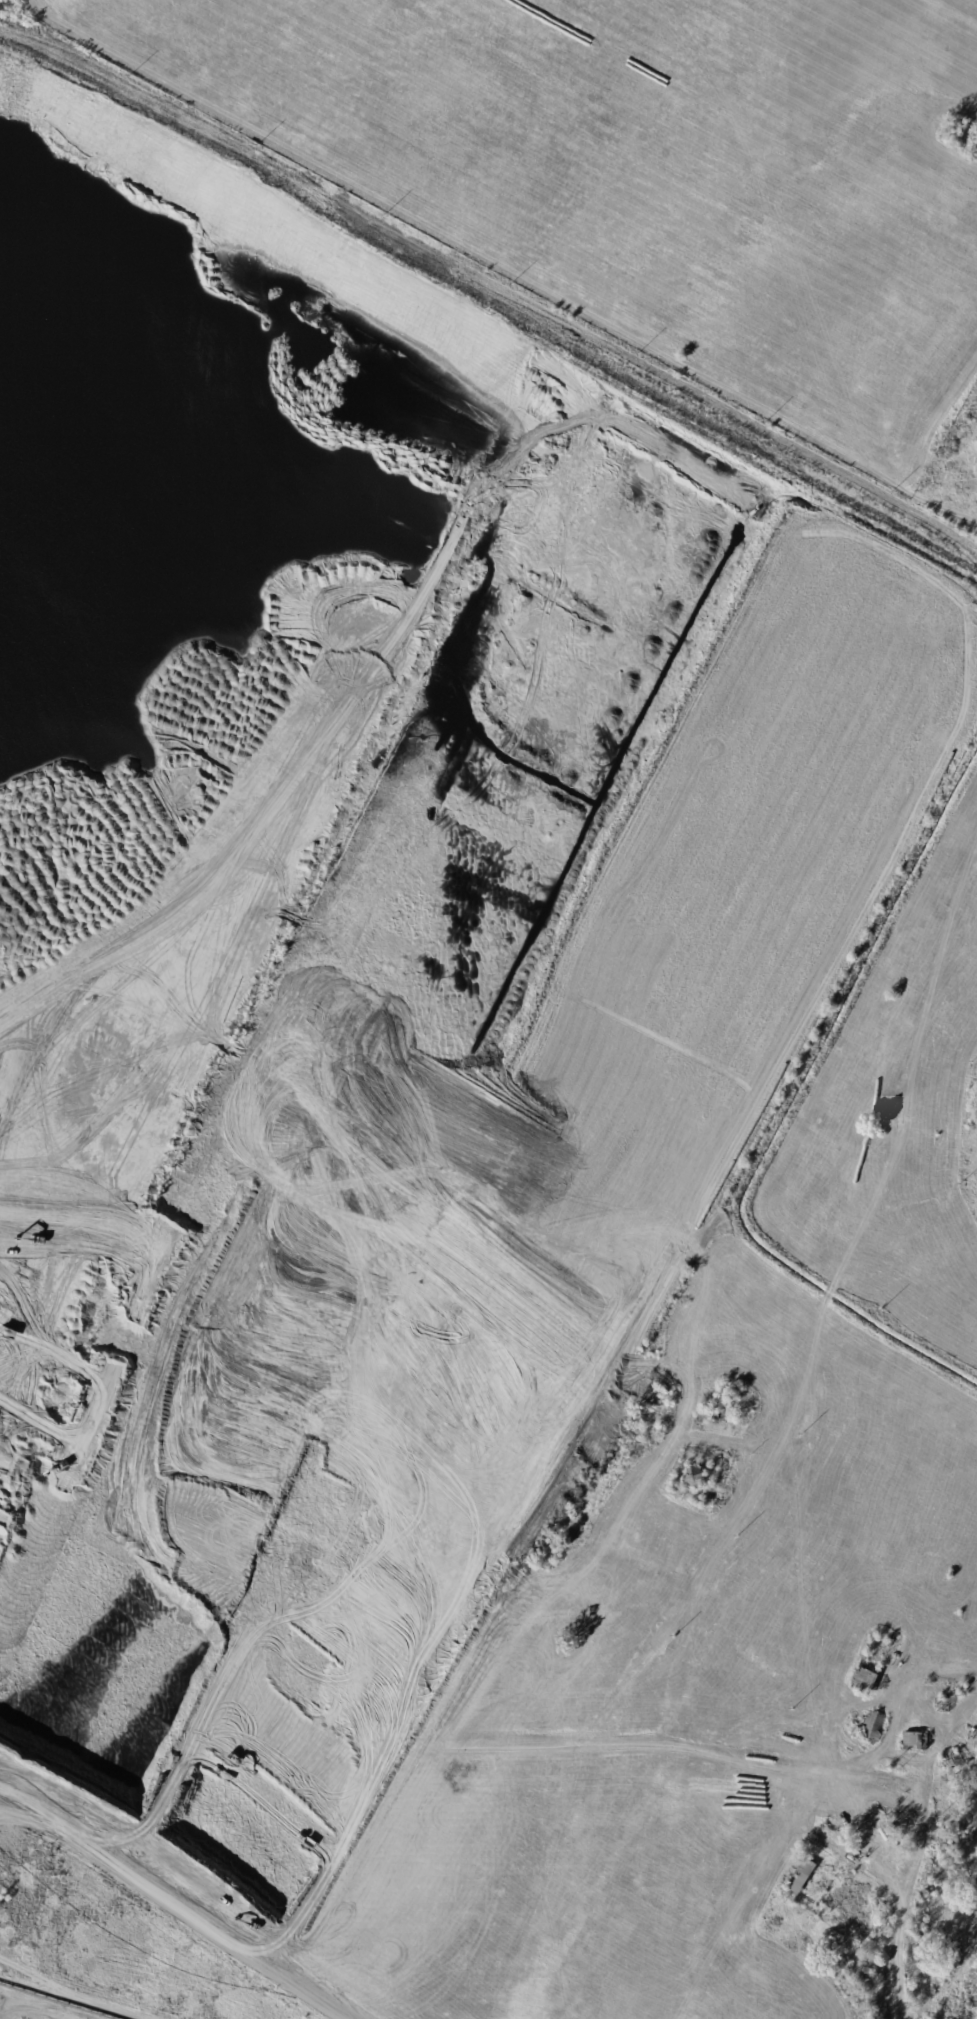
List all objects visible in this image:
quarry: (418, 1102)
road: (807, 1373)
building: (710, 1415)
building: (693, 1478)
building: (863, 1680)
building: (873, 1724)
building: (859, 1725)
building: (915, 1741)
road: (390, 1747)
building: (949, 1758)
building: (886, 1847)
building: (798, 1878)
road: (178, 1897)
building: (727, 1935)

